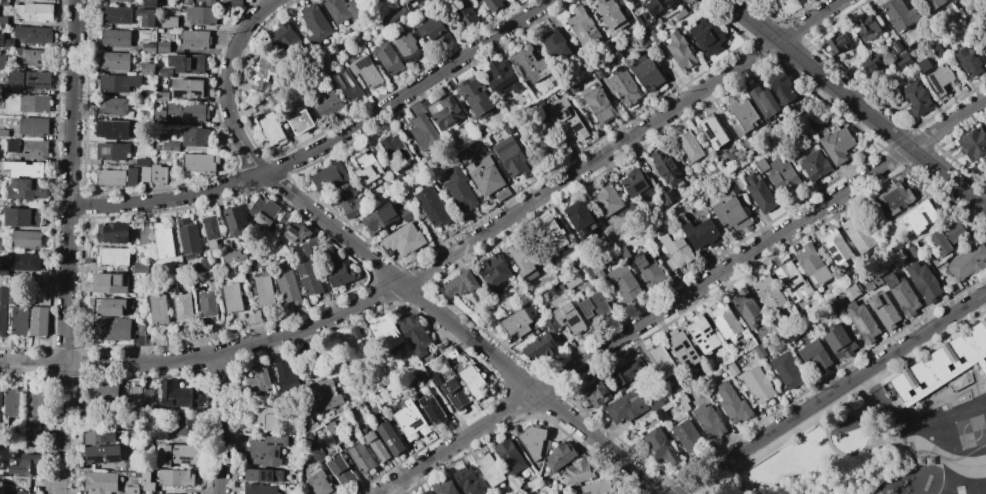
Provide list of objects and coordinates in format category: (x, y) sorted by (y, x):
building: (121, 0)
building: (628, 0)
building: (4, 1)
building: (163, 1)
building: (187, 1)
building: (774, 1)
building: (210, 2)
building: (149, 3)
building: (235, 3)
building: (492, 4)
building: (932, 4)
building: (657, 5)
building: (949, 5)
building: (340, 9)
building: (34, 12)
building: (465, 14)
building: (680, 14)
building: (899, 14)
building: (116, 15)
building: (200, 15)
building: (145, 16)
building: (611, 16)
building: (4, 20)
road: (755, 20)
road: (812, 20)
building: (168, 22)
building: (645, 22)
building: (314, 24)
building: (583, 26)
building: (866, 27)
building: (985, 27)
building: (435, 30)
building: (34, 34)
building: (708, 35)
building: (656, 36)
building: (115, 38)
building: (283, 38)
building: (195, 39)
building: (643, 41)
building: (6, 43)
building: (555, 44)
building: (834, 44)
building: (896, 45)
building: (148, 48)
building: (408, 48)
building: (936, 49)
building: (679, 51)
building: (983, 51)
building: (35, 57)
building: (387, 58)
building: (901, 59)
building: (115, 61)
building: (968, 61)
building: (3, 62)
park: (439, 62)
building: (187, 63)
building: (531, 63)
building: (867, 63)
building: (147, 68)
building: (365, 70)
building: (599, 71)
building: (646, 71)
building: (263, 72)
building: (164, 73)
building: (935, 75)
building: (504, 77)
building: (29, 80)
building: (117, 83)
building: (346, 84)
building: (572, 85)
building: (625, 86)
building: (782, 87)
building: (187, 88)
road: (846, 94)
building: (275, 95)
building: (160, 96)
building: (476, 97)
building: (916, 98)
building: (764, 101)
building: (34, 103)
building: (600, 104)
building: (113, 105)
building: (328, 106)
building: (189, 111)
building: (159, 113)
building: (446, 113)
building: (742, 115)
building: (567, 119)
building: (301, 121)
building: (161, 122)
road: (949, 123)
building: (34, 126)
building: (507, 127)
building: (271, 128)
building: (832, 128)
building: (113, 129)
building: (3, 132)
building: (714, 132)
building: (424, 133)
building: (195, 136)
building: (543, 140)
building: (487, 142)
building: (973, 143)
building: (169, 145)
road: (325, 145)
building: (837, 145)
building: (690, 146)
building: (712, 147)
building: (29, 148)
building: (111, 151)
building: (396, 151)
building: (732, 154)
building: (465, 155)
building: (512, 156)
building: (142, 162)
building: (199, 162)
building: (985, 162)
building: (761, 165)
building: (814, 165)
building: (666, 166)
building: (368, 168)
building: (24, 169)
building: (985, 171)
building: (159, 174)
building: (131, 176)
building: (146, 176)
building: (784, 177)
building: (110, 178)
building: (330, 178)
building: (400, 178)
building: (488, 178)
road: (949, 179)
building: (635, 182)
building: (739, 183)
building: (459, 187)
building: (734, 187)
building: (26, 188)
building: (760, 193)
building: (669, 197)
building: (607, 199)
building: (894, 200)
building: (347, 203)
building: (633, 205)
building: (432, 206)
building: (262, 211)
building: (406, 214)
building: (731, 214)
building: (921, 216)
building: (22, 217)
building: (284, 217)
building: (379, 218)
building: (580, 218)
building: (234, 220)
building: (211, 231)
building: (116, 232)
building: (294, 232)
building: (144, 234)
building: (702, 234)
building: (857, 234)
building: (550, 237)
building: (946, 237)
building: (26, 238)
building: (188, 238)
building: (313, 240)
building: (403, 240)
building: (163, 241)
building: (1, 245)
building: (835, 245)
road: (66, 246)
building: (896, 247)
building: (304, 248)
building: (622, 250)
building: (914, 250)
building: (676, 251)
building: (112, 256)
building: (523, 256)
building: (233, 260)
building: (26, 262)
building: (968, 262)
building: (895, 264)
building: (201, 265)
building: (813, 266)
building: (140, 268)
building: (597, 268)
building: (334, 269)
road: (385, 269)
building: (649, 269)
building: (494, 270)
building: (586, 270)
road: (416, 275)
building: (309, 278)
building: (42, 280)
building: (572, 281)
building: (923, 281)
building: (793, 282)
building: (107, 283)
building: (624, 283)
building: (173, 285)
building: (463, 285)
building: (288, 286)
building: (12, 290)
building: (265, 290)
building: (852, 291)
building: (249, 294)
building: (770, 294)
building: (902, 294)
building: (232, 297)
building: (208, 304)
building: (833, 304)
building: (107, 306)
building: (594, 306)
building: (883, 306)
building: (747, 307)
building: (183, 308)
building: (158, 309)
building: (3, 311)
building: (253, 316)
building: (569, 318)
building: (20, 320)
road: (645, 320)
building: (725, 320)
building: (38, 321)
building: (518, 321)
building: (862, 321)
building: (551, 325)
building: (110, 328)
building: (384, 332)
building: (355, 333)
building: (415, 334)
building: (703, 334)
road: (303, 335)
building: (792, 336)
building: (9, 341)
building: (840, 342)
building: (539, 347)
building: (683, 348)
building: (760, 349)
road: (307, 351)
building: (451, 354)
building: (816, 355)
building: (662, 360)
building: (941, 365)
road: (310, 369)
building: (733, 369)
building: (628, 371)
building: (787, 371)
building: (284, 374)
building: (257, 379)
building: (434, 379)
building: (471, 380)
building: (758, 384)
building: (0, 392)
building: (104, 392)
building: (596, 393)
road: (831, 393)
building: (455, 394)
building: (178, 395)
building: (322, 396)
building: (136, 397)
building: (11, 403)
building: (684, 403)
building: (732, 403)
building: (626, 407)
building: (34, 408)
building: (432, 410)
building: (661, 414)
building: (267, 418)
building: (410, 420)
building: (309, 421)
building: (709, 421)
road: (222, 424)
building: (184, 425)
building: (312, 426)
road: (826, 427)
park: (909, 429)
park: (964, 433)
building: (336, 434)
building: (686, 435)
building: (97, 437)
building: (391, 438)
park: (931, 438)
building: (534, 442)
building: (660, 446)
building: (376, 447)
building: (265, 452)
building: (102, 454)
building: (176, 454)
building: (318, 455)
building: (560, 455)
park: (832, 456)
building: (361, 457)
building: (510, 457)
road: (943, 457)
building: (25, 465)
building: (134, 466)
building: (490, 470)
building: (341, 472)
building: (579, 473)
building: (264, 475)
building: (136, 476)
road: (813, 476)
building: (176, 478)
building: (145, 479)
road: (950, 479)
building: (100, 481)
building: (468, 481)
building: (321, 483)
building: (444, 486)
building: (146, 487)
building: (598, 488)
building: (260, 489)
park: (962, 489)
building: (130, 491)
building: (19, 492)
building: (428, 492)
building: (573, 493)
park: (983, 493)

